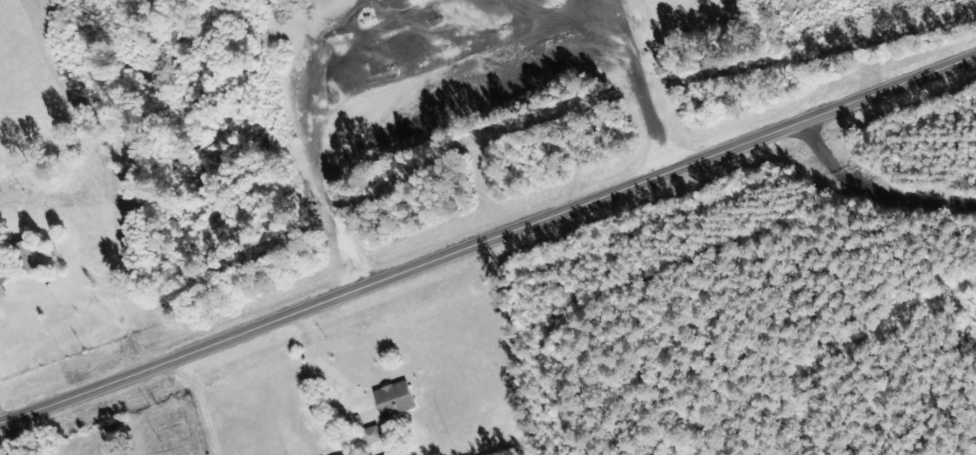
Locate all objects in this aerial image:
road: (871, 194)
road: (488, 237)
building: (26, 256)
building: (2, 278)
building: (392, 399)
road: (971, 447)
building: (351, 454)

